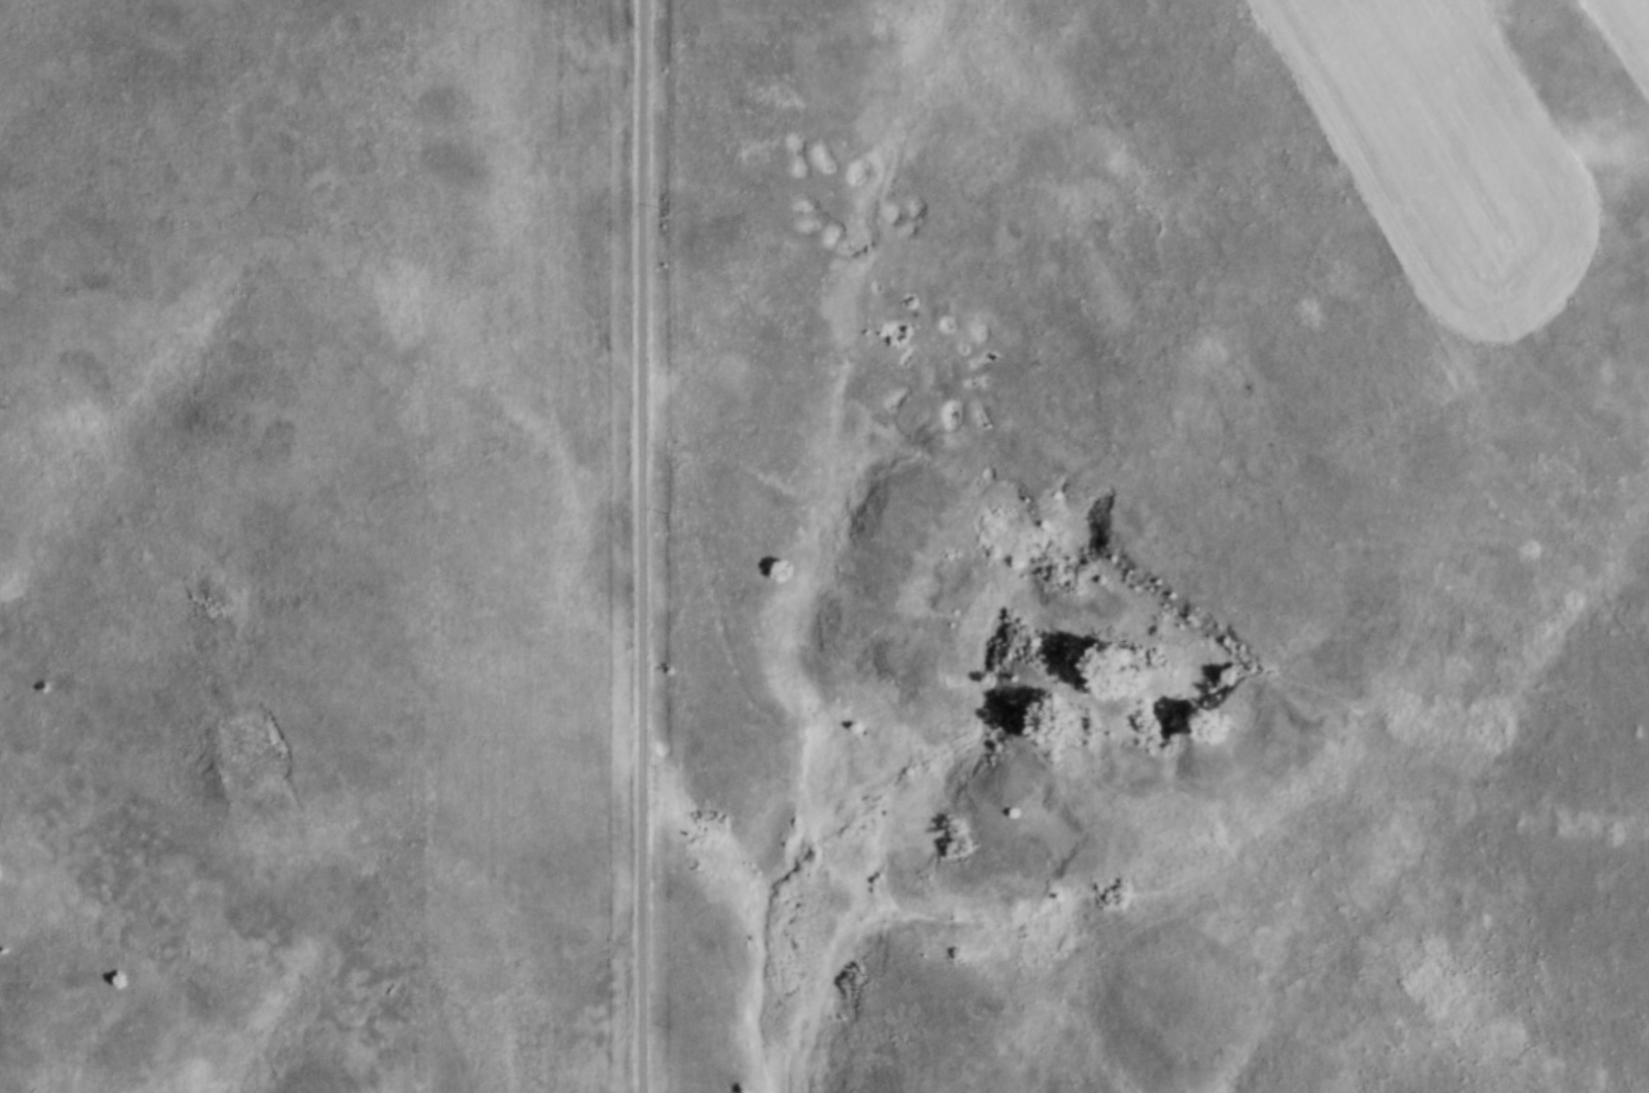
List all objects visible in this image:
road: (641, 546)

